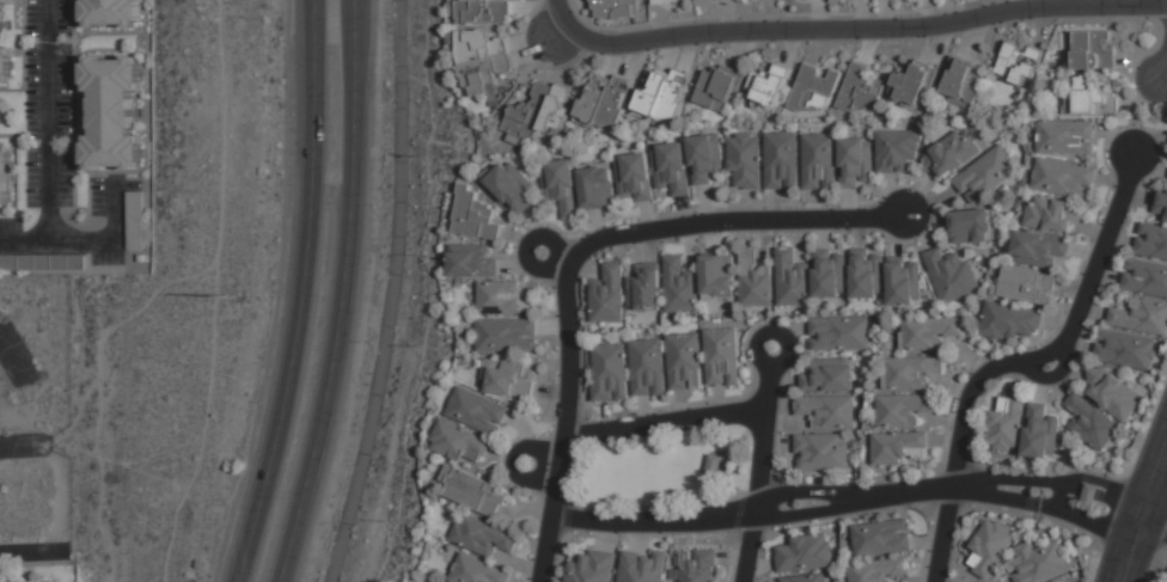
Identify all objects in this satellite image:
building: (665, 1)
building: (615, 8)
building: (110, 12)
building: (484, 12)
road: (561, 14)
road: (851, 29)
building: (5, 48)
building: (1095, 49)
building: (481, 59)
building: (1019, 63)
road: (1163, 74)
building: (964, 80)
building: (914, 84)
building: (769, 85)
building: (719, 87)
building: (813, 87)
building: (860, 88)
building: (1089, 94)
building: (664, 97)
building: (604, 100)
building: (110, 111)
building: (540, 111)
building: (1067, 136)
road: (48, 145)
building: (896, 149)
building: (952, 155)
building: (704, 158)
building: (745, 159)
building: (782, 160)
building: (819, 161)
building: (855, 161)
building: (671, 167)
building: (985, 173)
building: (4, 177)
building: (634, 178)
building: (1063, 178)
building: (511, 185)
building: (578, 188)
building: (1161, 206)
building: (1053, 214)
building: (475, 215)
building: (134, 220)
road: (715, 221)
building: (973, 226)
building: (1151, 241)
building: (1039, 249)
building: (42, 262)
building: (471, 262)
building: (867, 272)
building: (830, 274)
building: (719, 276)
building: (952, 276)
building: (1144, 277)
building: (792, 278)
building: (754, 280)
building: (904, 281)
building: (1028, 287)
building: (639, 290)
power tower: (222, 294)
road: (301, 294)
road: (342, 294)
road: (395, 294)
building: (501, 301)
building: (1139, 315)
building: (1013, 321)
building: (839, 333)
building: (928, 333)
building: (506, 337)
building: (1125, 349)
building: (722, 356)
parking lot: (17, 357)
road: (1019, 361)
road: (11, 364)
building: (646, 368)
building: (911, 372)
building: (829, 375)
road: (1051, 375)
building: (508, 380)
building: (1112, 392)
building: (826, 410)
building: (904, 410)
building: (476, 411)
building: (1090, 422)
road: (563, 423)
road: (662, 425)
building: (1022, 427)
road: (760, 430)
road: (24, 439)
building: (459, 442)
building: (898, 447)
parking lot: (19, 452)
building: (821, 452)
building: (714, 465)
park: (660, 472)
road: (996, 479)
building: (473, 491)
road: (806, 494)
road: (909, 494)
road: (1099, 495)
road: (1134, 495)
building: (1089, 496)
road: (995, 500)
road: (809, 511)
road: (1161, 513)
road: (653, 521)
road: (1093, 523)
road: (1148, 532)
road: (1157, 533)
building: (482, 537)
building: (884, 538)
road: (749, 547)
building: (989, 549)
road: (33, 552)
building: (805, 555)
road: (1155, 555)
building: (1038, 563)
building: (696, 566)
building: (591, 568)
building: (641, 568)
building: (879, 570)
building: (476, 571)
building: (804, 578)
building: (10, 581)
building: (435, 581)
building: (1053, 581)

